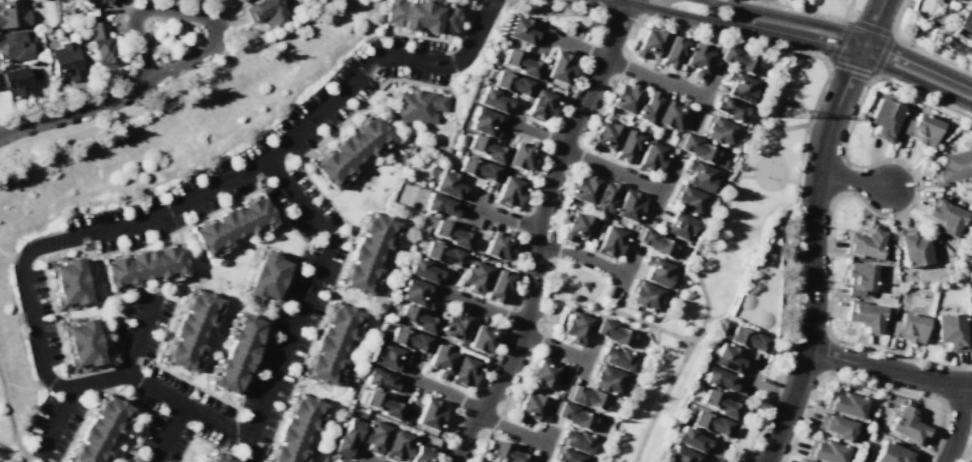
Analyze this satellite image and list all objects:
building: (241, 0)
building: (107, 1)
building: (93, 2)
road: (582, 2)
park: (835, 6)
road: (849, 9)
road: (801, 10)
building: (265, 12)
building: (13, 13)
road: (136, 14)
building: (418, 16)
road: (227, 20)
road: (847, 20)
building: (963, 26)
road: (870, 27)
building: (520, 29)
road: (841, 32)
road: (893, 35)
road: (734, 37)
road: (801, 39)
road: (542, 42)
building: (649, 43)
building: (99, 44)
building: (15, 45)
road: (576, 45)
road: (915, 47)
road: (443, 50)
building: (671, 52)
road: (196, 55)
building: (696, 59)
building: (736, 59)
building: (66, 61)
building: (519, 63)
road: (826, 63)
building: (560, 67)
road: (872, 75)
road: (874, 77)
road: (655, 80)
building: (13, 81)
building: (511, 82)
road: (101, 87)
building: (738, 87)
road: (169, 94)
road: (924, 96)
building: (625, 97)
building: (491, 99)
road: (704, 100)
building: (418, 105)
building: (540, 105)
building: (647, 107)
building: (728, 108)
road: (74, 112)
power tower: (784, 113)
building: (671, 114)
building: (883, 118)
road: (511, 121)
building: (482, 122)
road: (339, 123)
building: (921, 128)
building: (718, 130)
road: (537, 132)
building: (604, 137)
road: (768, 145)
building: (626, 146)
building: (485, 148)
building: (696, 149)
building: (349, 150)
building: (521, 155)
building: (651, 157)
road: (782, 160)
building: (722, 164)
building: (477, 168)
building: (949, 168)
road: (611, 169)
building: (698, 175)
road: (744, 176)
road: (853, 180)
road: (792, 181)
building: (449, 184)
building: (583, 188)
building: (508, 191)
road: (660, 192)
road: (839, 196)
building: (605, 197)
building: (686, 199)
road: (793, 202)
road: (176, 204)
building: (439, 205)
building: (628, 205)
road: (476, 207)
road: (720, 215)
building: (944, 215)
road: (507, 218)
building: (231, 225)
building: (678, 225)
building: (577, 227)
building: (422, 229)
road: (539, 233)
building: (451, 234)
road: (521, 237)
road: (550, 239)
building: (610, 241)
building: (653, 242)
building: (864, 243)
building: (499, 244)
building: (911, 246)
building: (368, 253)
building: (442, 254)
road: (581, 257)
building: (764, 257)
road: (812, 259)
park: (714, 263)
building: (971, 264)
building: (142, 265)
building: (971, 265)
building: (423, 270)
building: (656, 271)
road: (623, 274)
building: (266, 275)
building: (474, 276)
building: (859, 278)
road: (289, 279)
building: (67, 281)
building: (498, 285)
park: (578, 285)
road: (443, 291)
road: (307, 292)
building: (414, 292)
building: (643, 295)
road: (483, 309)
road: (613, 312)
building: (864, 315)
building: (416, 319)
building: (453, 324)
building: (574, 327)
building: (908, 327)
building: (190, 330)
building: (950, 331)
building: (611, 332)
road: (140, 334)
building: (483, 337)
road: (312, 338)
building: (408, 339)
building: (747, 339)
building: (81, 343)
building: (332, 344)
road: (554, 346)
building: (236, 353)
building: (388, 357)
building: (615, 358)
building: (729, 358)
road: (586, 359)
building: (440, 360)
building: (464, 371)
road: (887, 371)
road: (54, 372)
building: (543, 372)
road: (76, 375)
road: (408, 376)
building: (379, 378)
road: (744, 378)
building: (605, 379)
building: (718, 379)
road: (866, 383)
road: (768, 388)
road: (445, 391)
road: (163, 393)
road: (117, 395)
building: (586, 397)
road: (660, 401)
building: (719, 403)
building: (382, 404)
building: (844, 404)
road: (768, 405)
building: (529, 407)
building: (429, 413)
building: (573, 416)
building: (404, 421)
road: (11, 423)
building: (708, 423)
road: (958, 423)
building: (906, 425)
building: (836, 426)
building: (295, 429)
building: (99, 430)
road: (511, 431)
road: (168, 433)
building: (347, 436)
building: (374, 436)
building: (691, 438)
road: (547, 440)
building: (574, 440)
road: (204, 441)
building: (397, 446)
road: (967, 448)
road: (250, 450)
building: (825, 451)
building: (419, 453)
building: (505, 453)
road: (713, 453)
building: (893, 453)
building: (679, 454)
building: (564, 456)
building: (213, 457)
road: (48, 459)
road: (363, 459)
road: (35, 461)
building: (128, 461)
building: (133, 461)
building: (338, 461)
building: (475, 461)
building: (802, 461)

